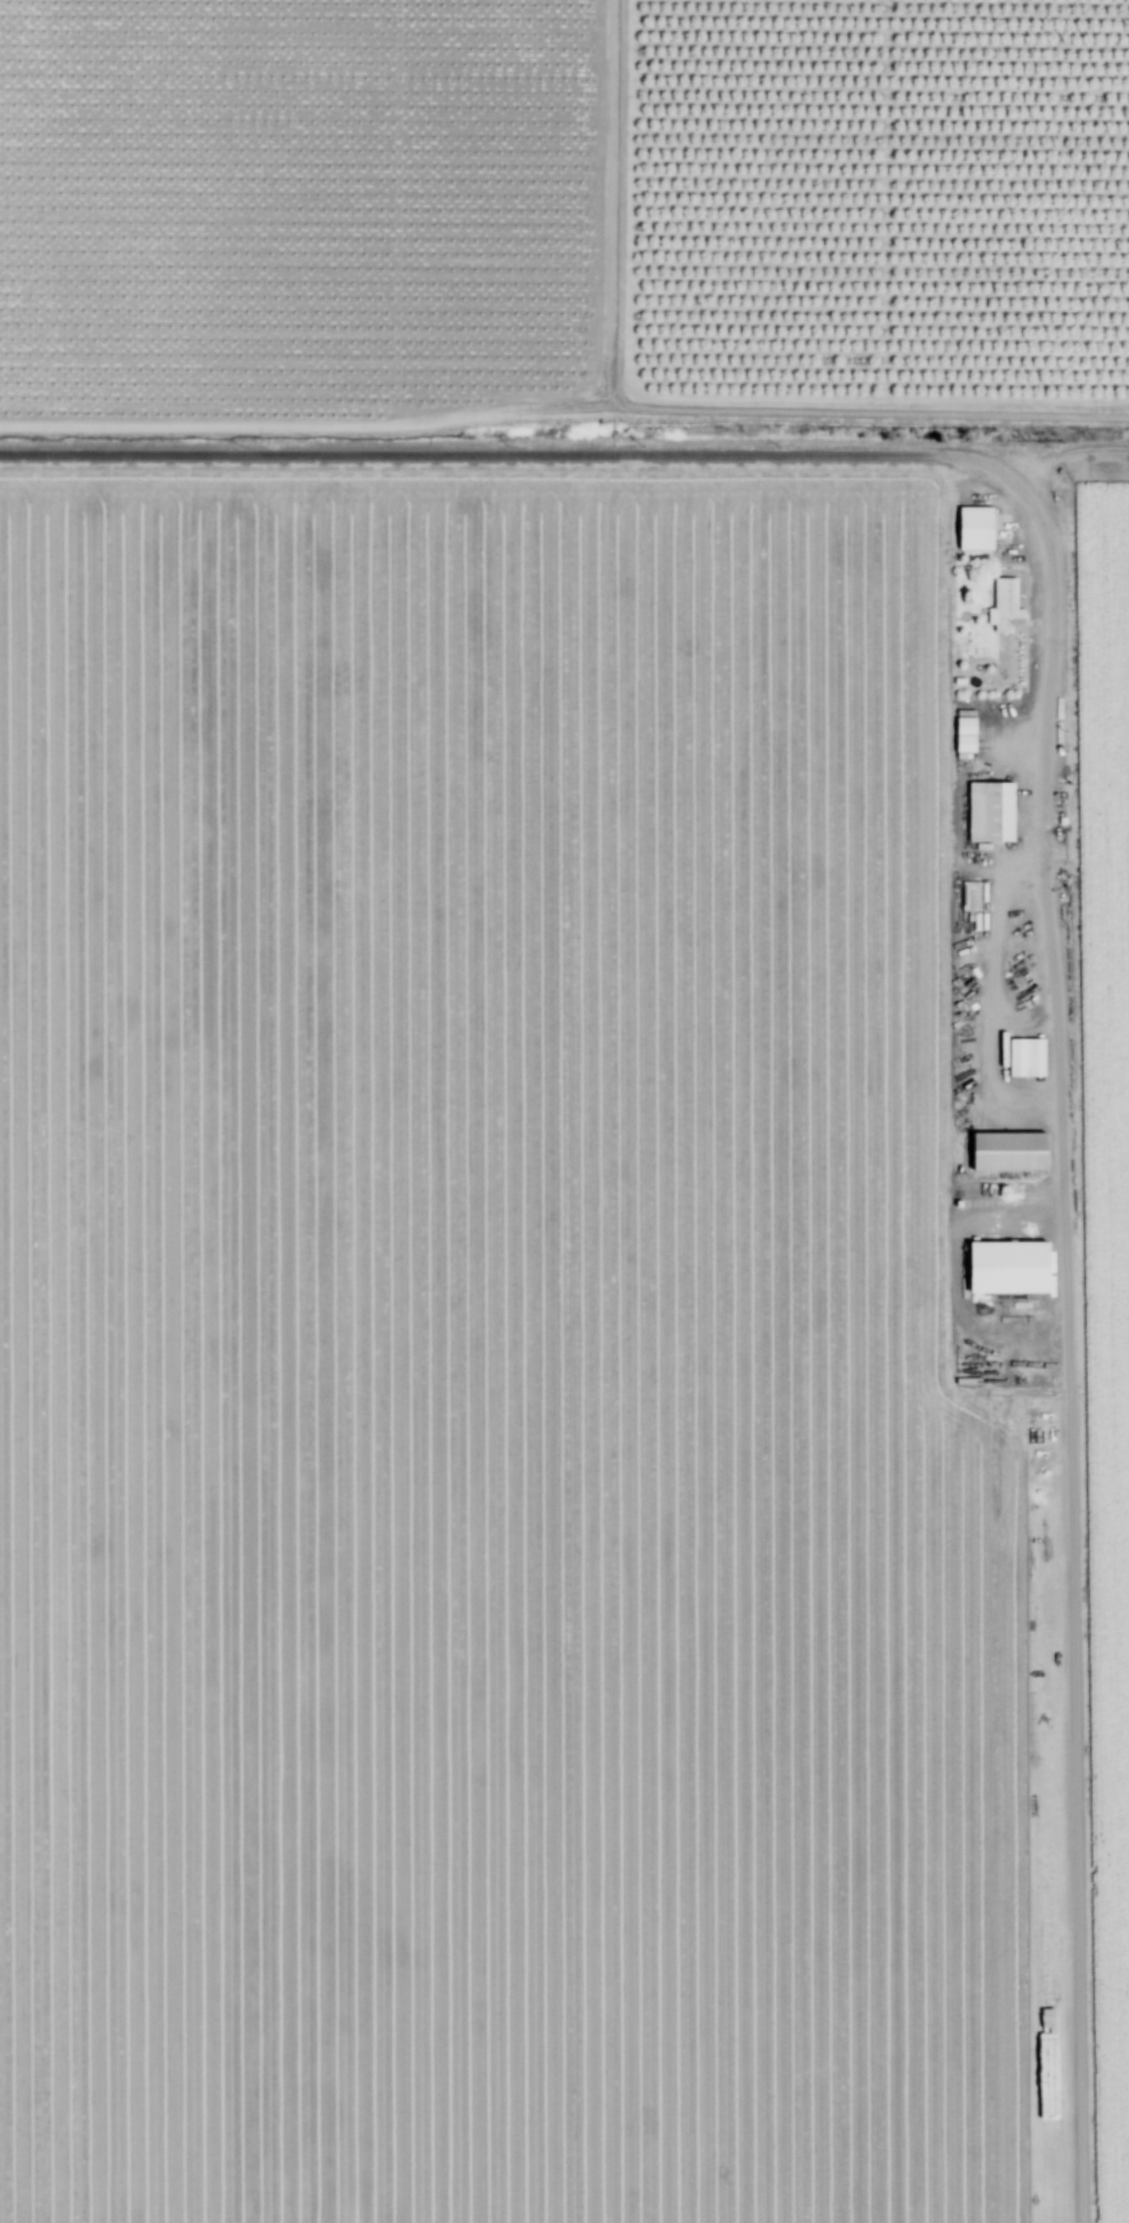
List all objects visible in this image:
road: (563, 409)
building: (972, 529)
building: (1003, 607)
building: (988, 813)
road: (1035, 838)
building: (1023, 1058)
building: (1004, 1152)
building: (1002, 1269)

